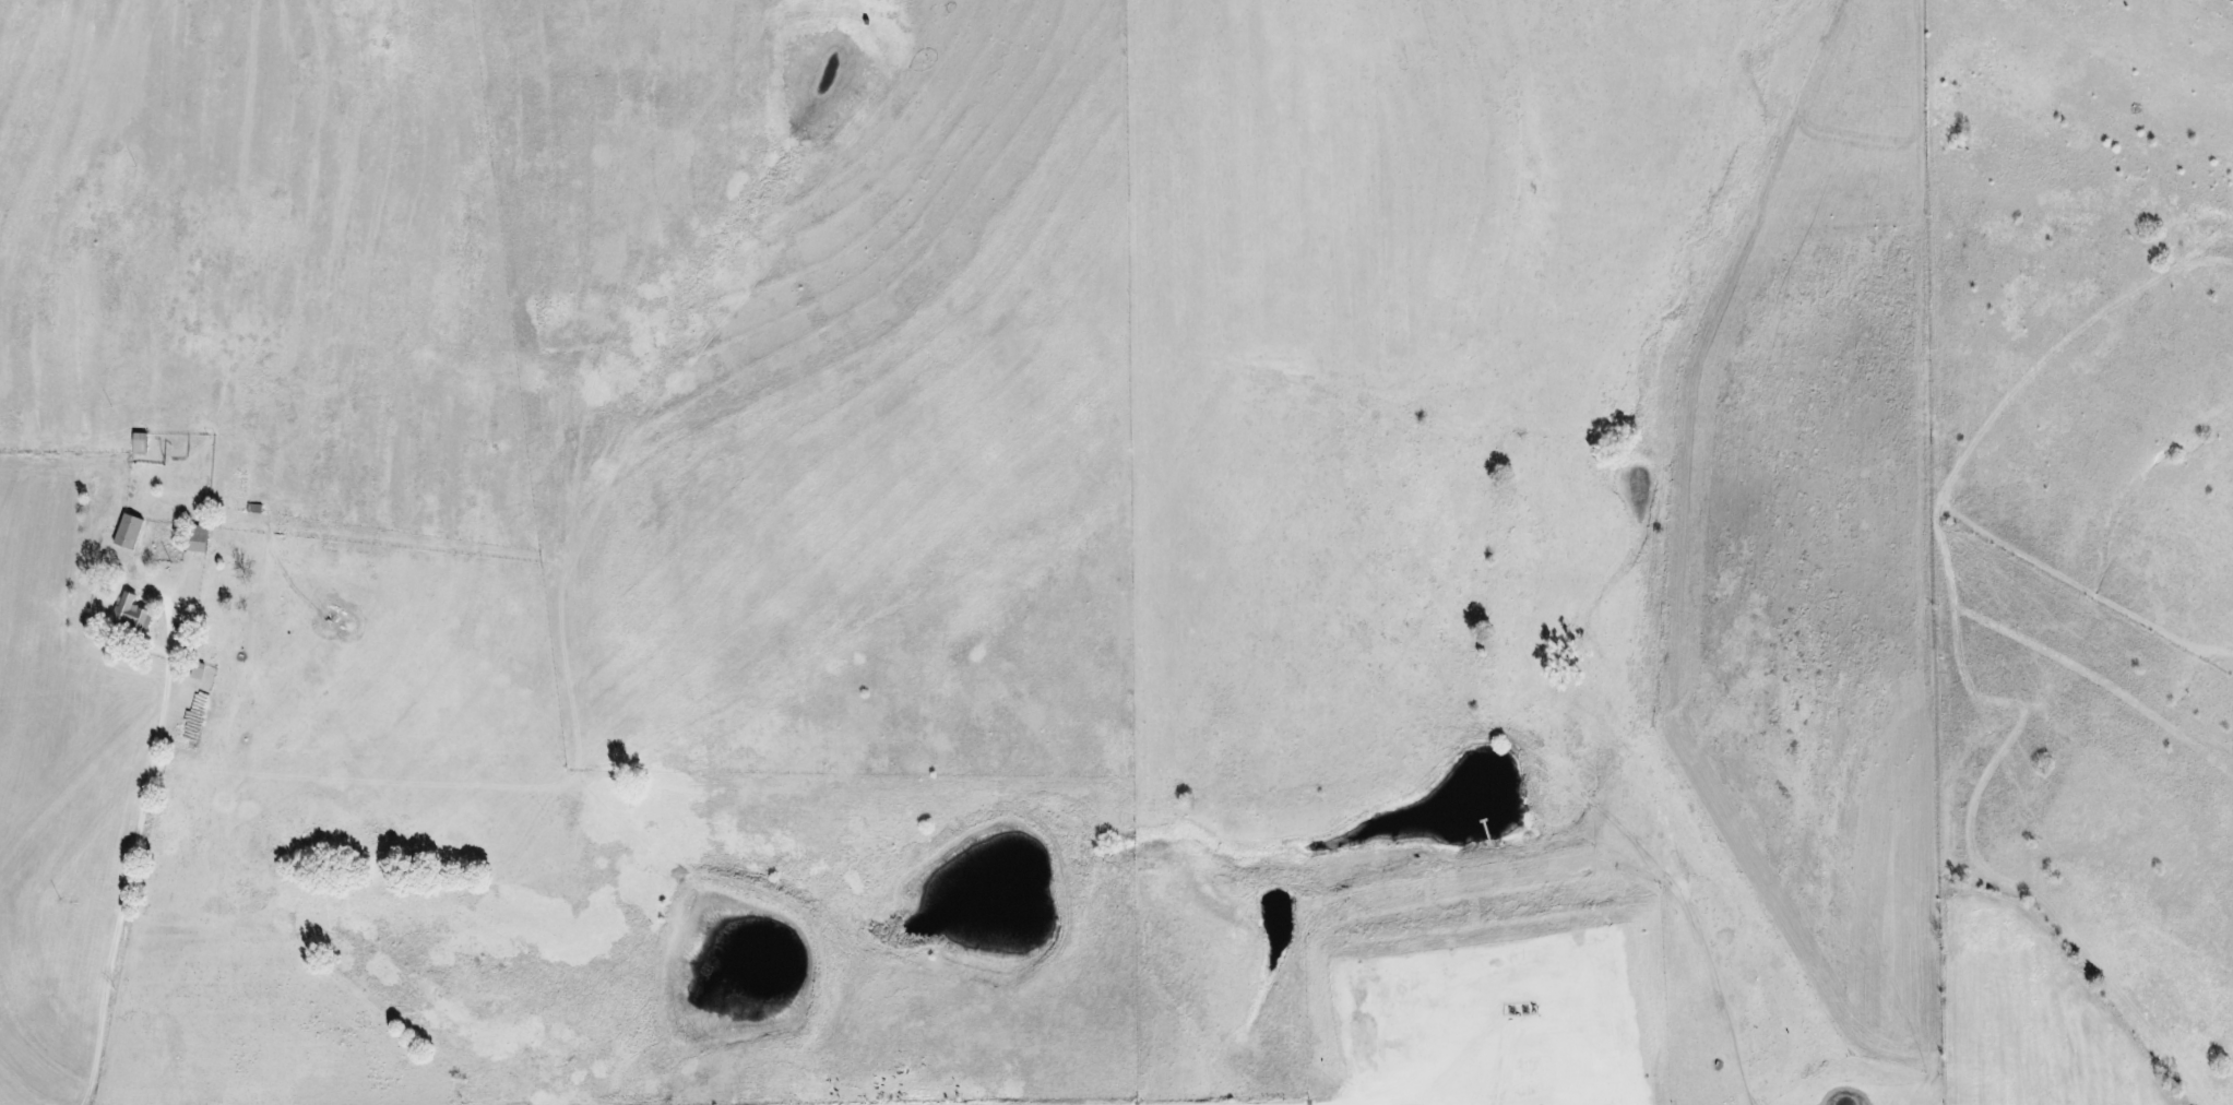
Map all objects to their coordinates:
building: (128, 531)
building: (197, 537)
building: (132, 613)
road: (149, 913)
road: (1243, 1094)

